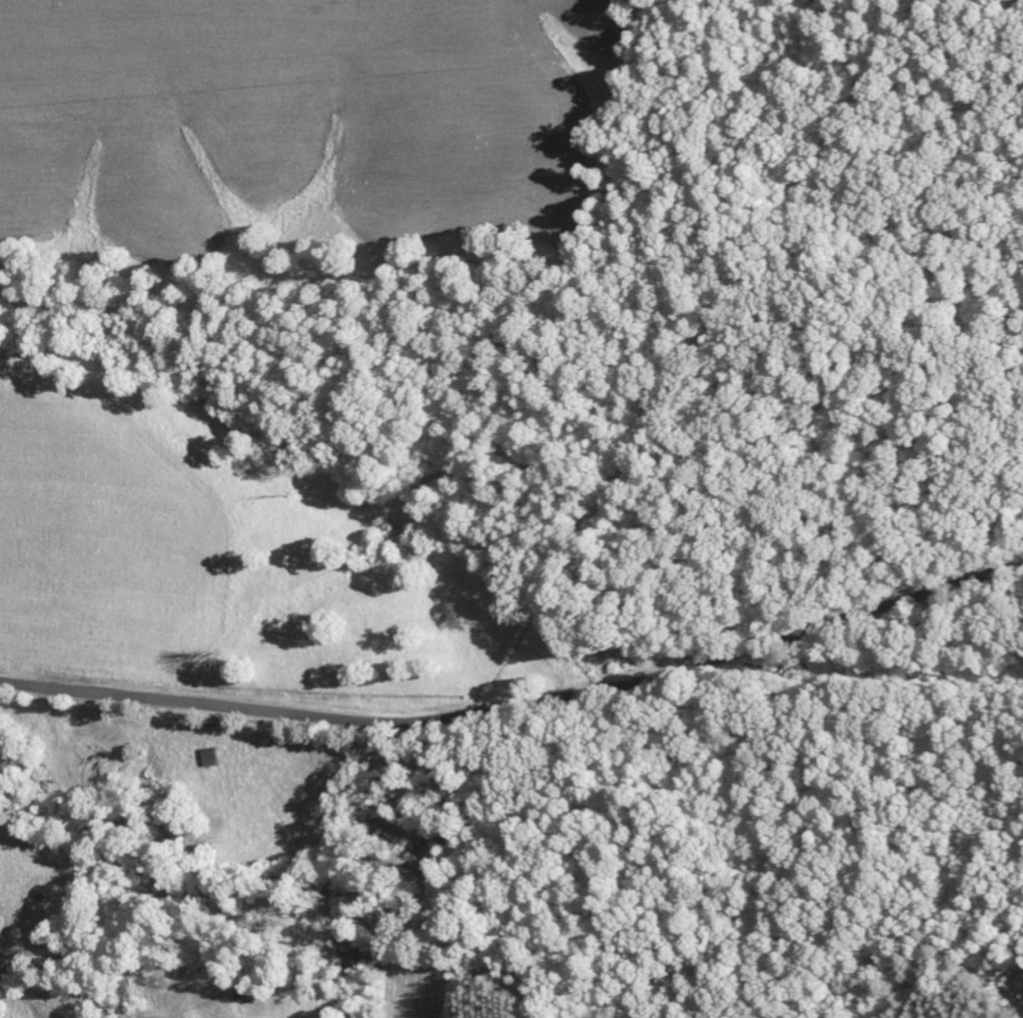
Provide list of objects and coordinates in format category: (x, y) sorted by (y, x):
road: (519, 706)

